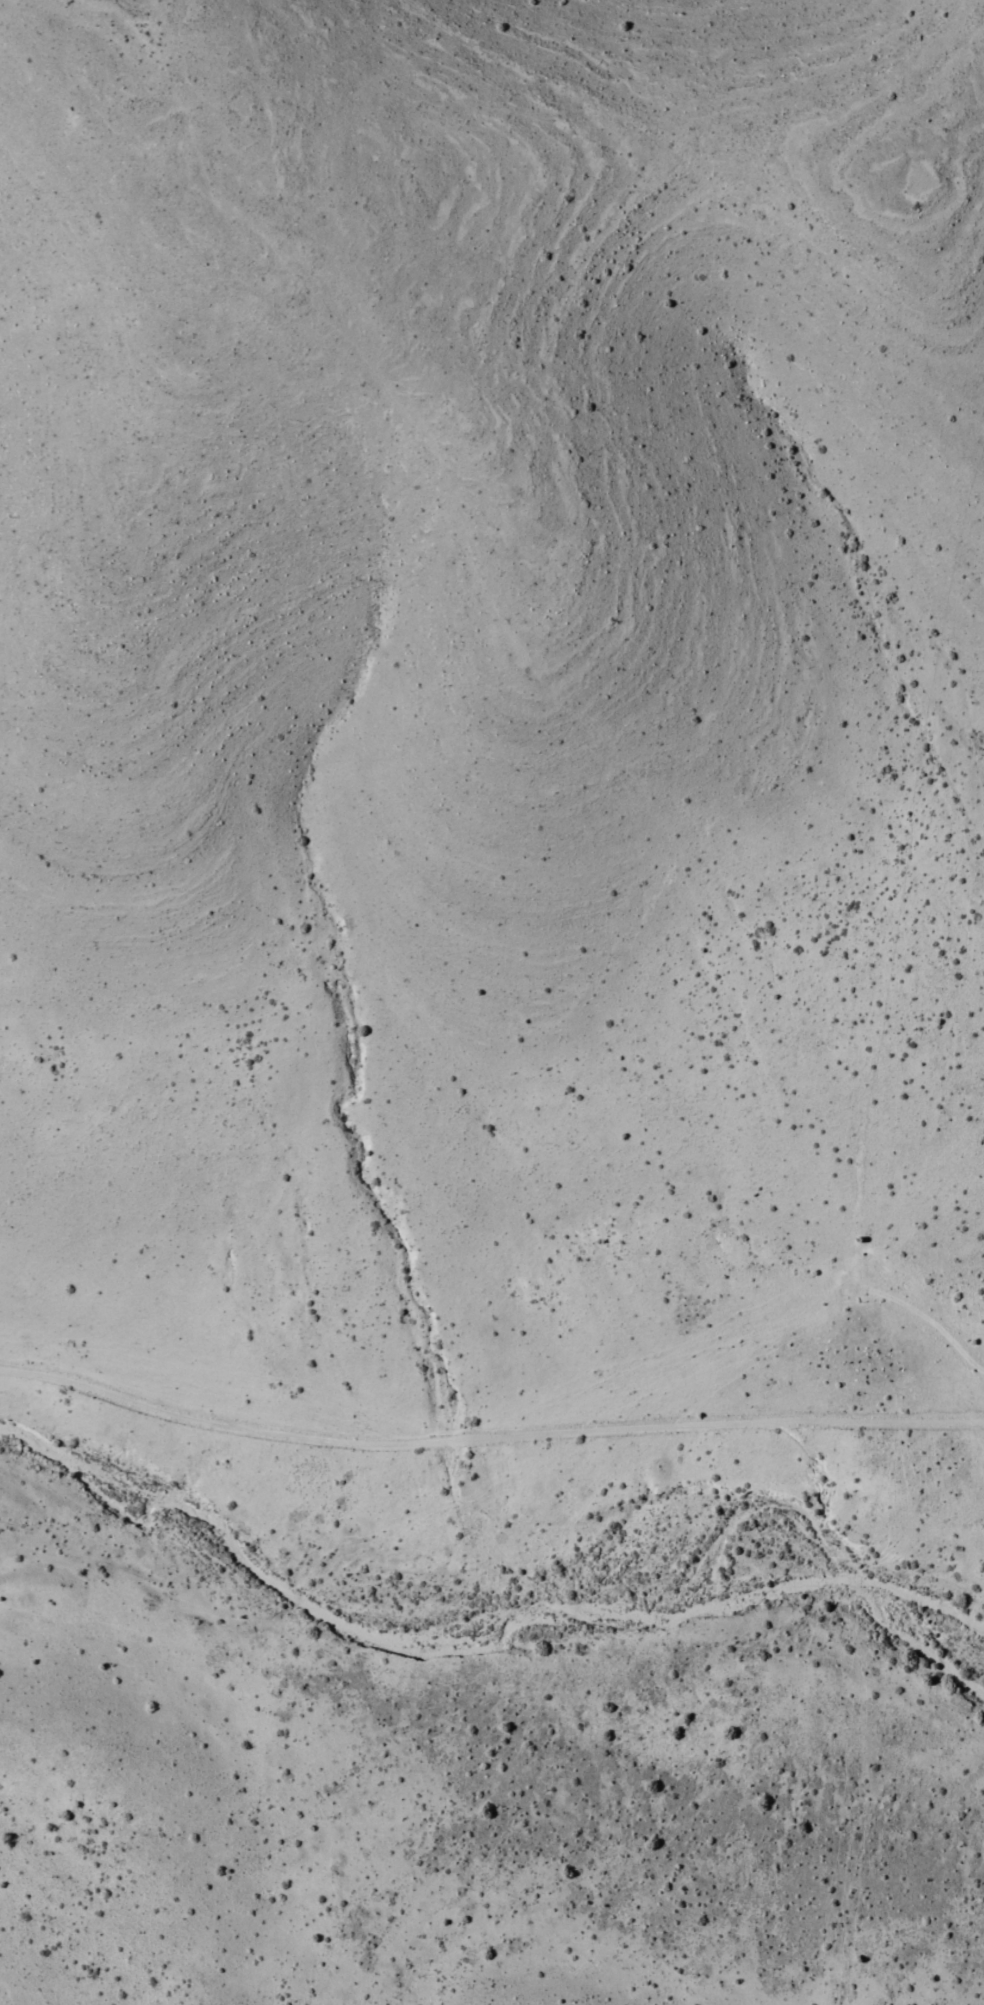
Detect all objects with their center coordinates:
road: (487, 1430)

